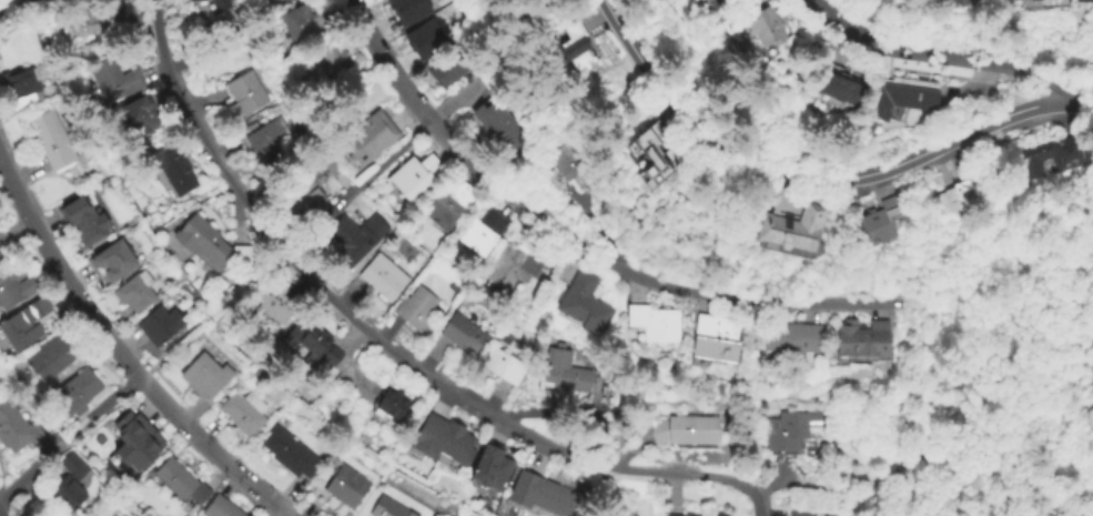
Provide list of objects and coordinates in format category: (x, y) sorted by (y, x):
road: (10, 0)
road: (11, 0)
building: (193, 0)
building: (1082, 0)
road: (4, 3)
building: (717, 4)
building: (219, 6)
building: (407, 10)
building: (763, 23)
building: (298, 27)
building: (94, 28)
building: (423, 38)
building: (577, 39)
road: (910, 47)
building: (332, 59)
road: (387, 63)
building: (449, 68)
road: (1041, 77)
building: (113, 82)
building: (841, 85)
building: (22, 89)
building: (912, 93)
building: (242, 95)
road: (456, 101)
building: (136, 120)
building: (497, 124)
road: (201, 134)
building: (370, 140)
building: (53, 141)
building: (270, 143)
road: (394, 153)
building: (1051, 156)
building: (566, 162)
building: (657, 164)
building: (173, 171)
road: (817, 176)
building: (415, 178)
building: (310, 190)
building: (959, 200)
road: (338, 205)
building: (447, 206)
building: (83, 223)
building: (885, 224)
building: (798, 232)
building: (483, 233)
building: (355, 242)
building: (209, 246)
building: (2, 257)
building: (114, 264)
building: (512, 270)
road: (631, 274)
building: (382, 280)
building: (14, 290)
building: (135, 294)
building: (584, 306)
road: (222, 307)
building: (272, 307)
building: (414, 311)
building: (656, 322)
building: (24, 326)
building: (159, 327)
building: (462, 334)
building: (718, 337)
building: (793, 338)
building: (864, 341)
building: (314, 350)
road: (122, 357)
building: (50, 358)
building: (502, 367)
building: (1091, 371)
building: (563, 374)
building: (204, 377)
building: (75, 394)
road: (113, 398)
building: (391, 406)
building: (243, 413)
building: (1090, 417)
road: (497, 418)
building: (17, 429)
road: (79, 429)
building: (687, 431)
building: (786, 432)
building: (443, 441)
building: (134, 444)
building: (289, 453)
building: (489, 469)
road: (29, 476)
building: (181, 480)
building: (69, 483)
building: (341, 488)
building: (539, 495)
road: (758, 503)
building: (221, 507)
building: (388, 508)
building: (801, 510)
road: (1, 514)
building: (720, 514)

